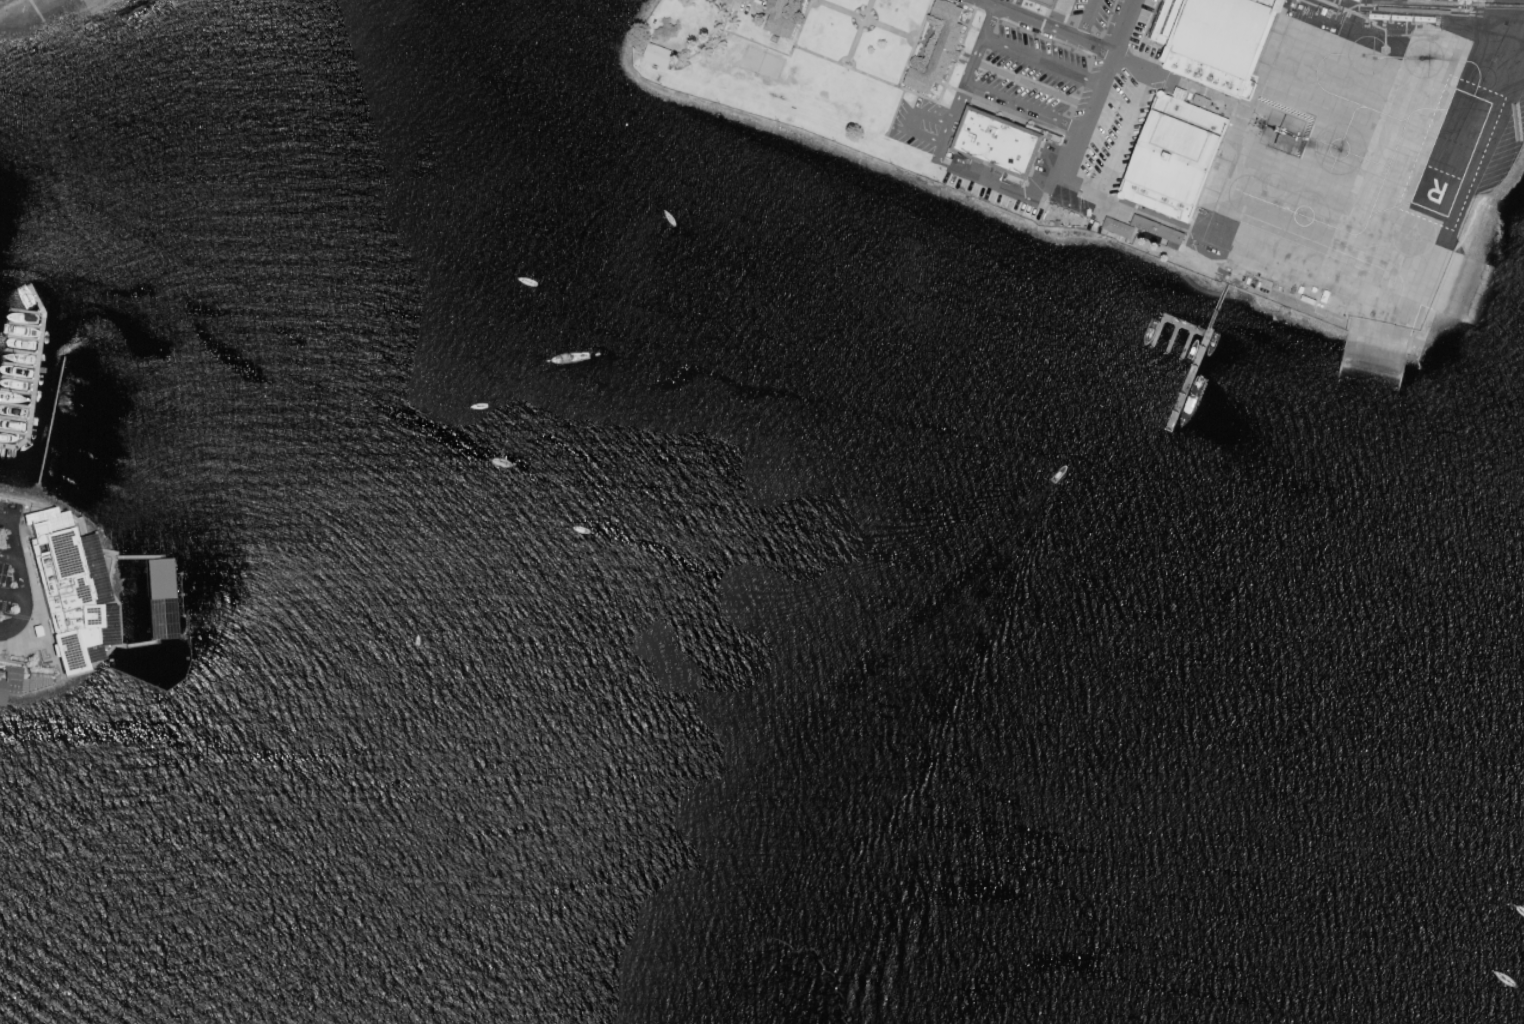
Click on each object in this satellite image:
building: (1357, 0)
building: (1045, 3)
airport hangar: (1272, 3)
building: (1272, 3)
road: (869, 5)
road: (813, 7)
road: (838, 9)
building: (1365, 14)
building: (1378, 16)
storage tank: (1378, 16)
building: (1401, 17)
storage tank: (1401, 17)
flagpole: (863, 18)
building: (1424, 18)
storage tank: (1424, 18)
building: (1437, 18)
road: (1086, 19)
building: (779, 20)
road: (855, 20)
airport hangar: (1167, 21)
building: (1167, 21)
building: (1383, 23)
building: (1366, 24)
road: (1046, 25)
building: (1419, 26)
road: (799, 28)
road: (889, 29)
road: (976, 29)
road: (912, 30)
road: (966, 31)
airport hangar: (1225, 33)
building: (1225, 33)
road: (854, 41)
road: (755, 42)
road: (712, 43)
road: (914, 43)
building: (938, 49)
road: (814, 54)
building: (657, 55)
road: (840, 56)
road: (966, 59)
road: (1041, 61)
park: (762, 62)
road: (972, 64)
road: (1130, 64)
airport hangar: (1208, 74)
building: (1208, 74)
road: (875, 78)
road: (946, 81)
road: (948, 86)
road: (1097, 88)
road: (1194, 89)
road: (917, 94)
parking lot: (1074, 94)
airport hangar: (1180, 94)
building: (1180, 94)
road: (1023, 107)
road: (895, 112)
parking lot: (925, 126)
road: (909, 131)
building: (998, 143)
airport hangar: (1179, 149)
building: (1179, 149)
road: (940, 153)
road: (1119, 154)
airport apron: (1355, 163)
road: (1004, 186)
parking lot: (995, 187)
airport hangar: (1158, 201)
building: (1158, 201)
building: (1119, 227)
building: (1160, 231)
helipad: (1413, 236)
road: (1229, 280)
road: (1218, 307)
pier: (1184, 325)
pier: (1156, 331)
pier: (1172, 338)
pier: (1187, 344)
pier: (38, 366)
pier: (1188, 379)
pier: (11, 449)
pier: (77, 527)
road: (12, 535)
road: (8, 557)
pier: (138, 558)
pier: (107, 564)
building: (72, 590)
road: (12, 594)
road: (24, 597)
building: (160, 601)
parking lot: (9, 619)
pier: (117, 620)
road: (5, 631)
pier: (138, 646)
pier: (107, 651)
pier: (109, 661)
pier: (83, 670)
building: (9, 683)

